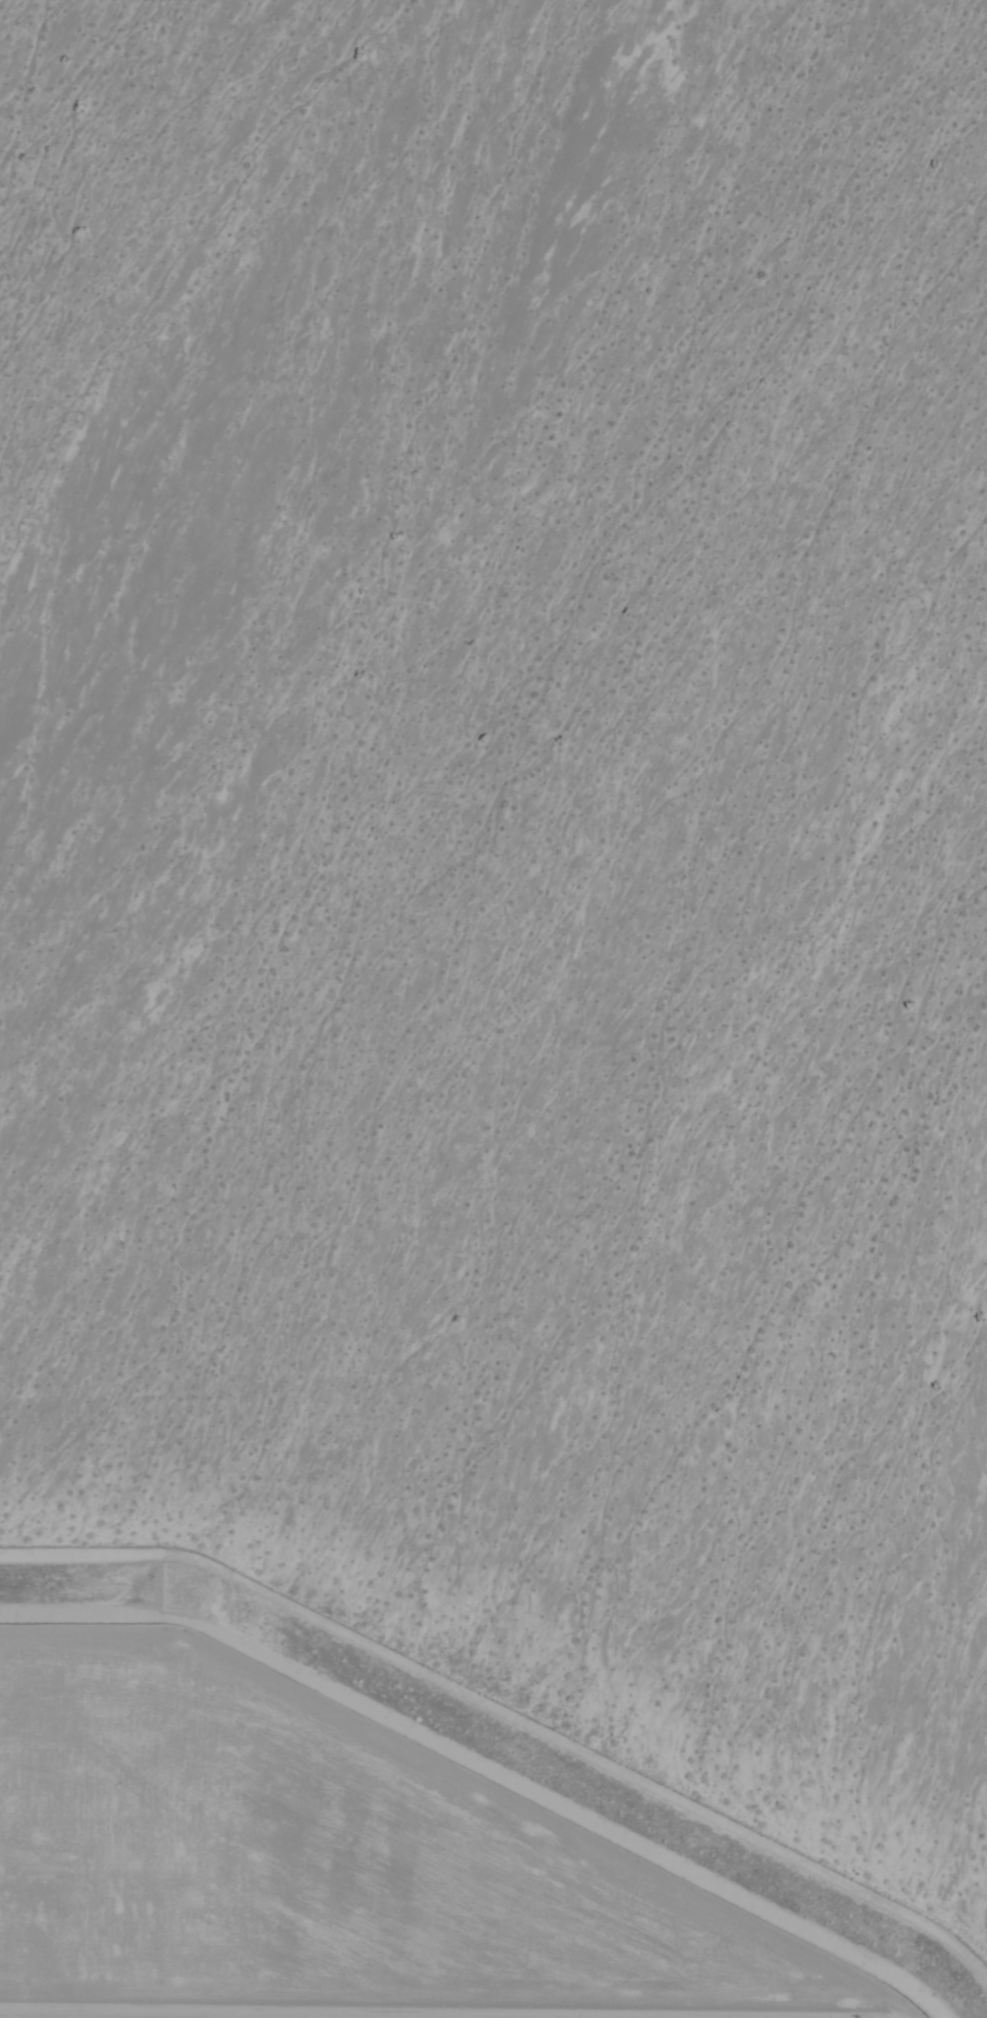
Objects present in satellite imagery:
solar farm: (327, 1865)

